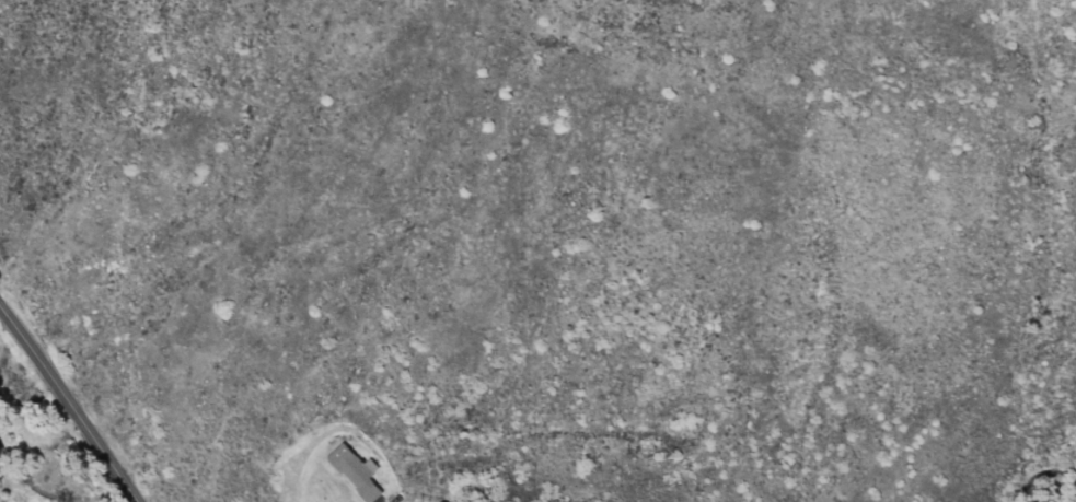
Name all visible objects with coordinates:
road: (66, 406)
building: (355, 471)

